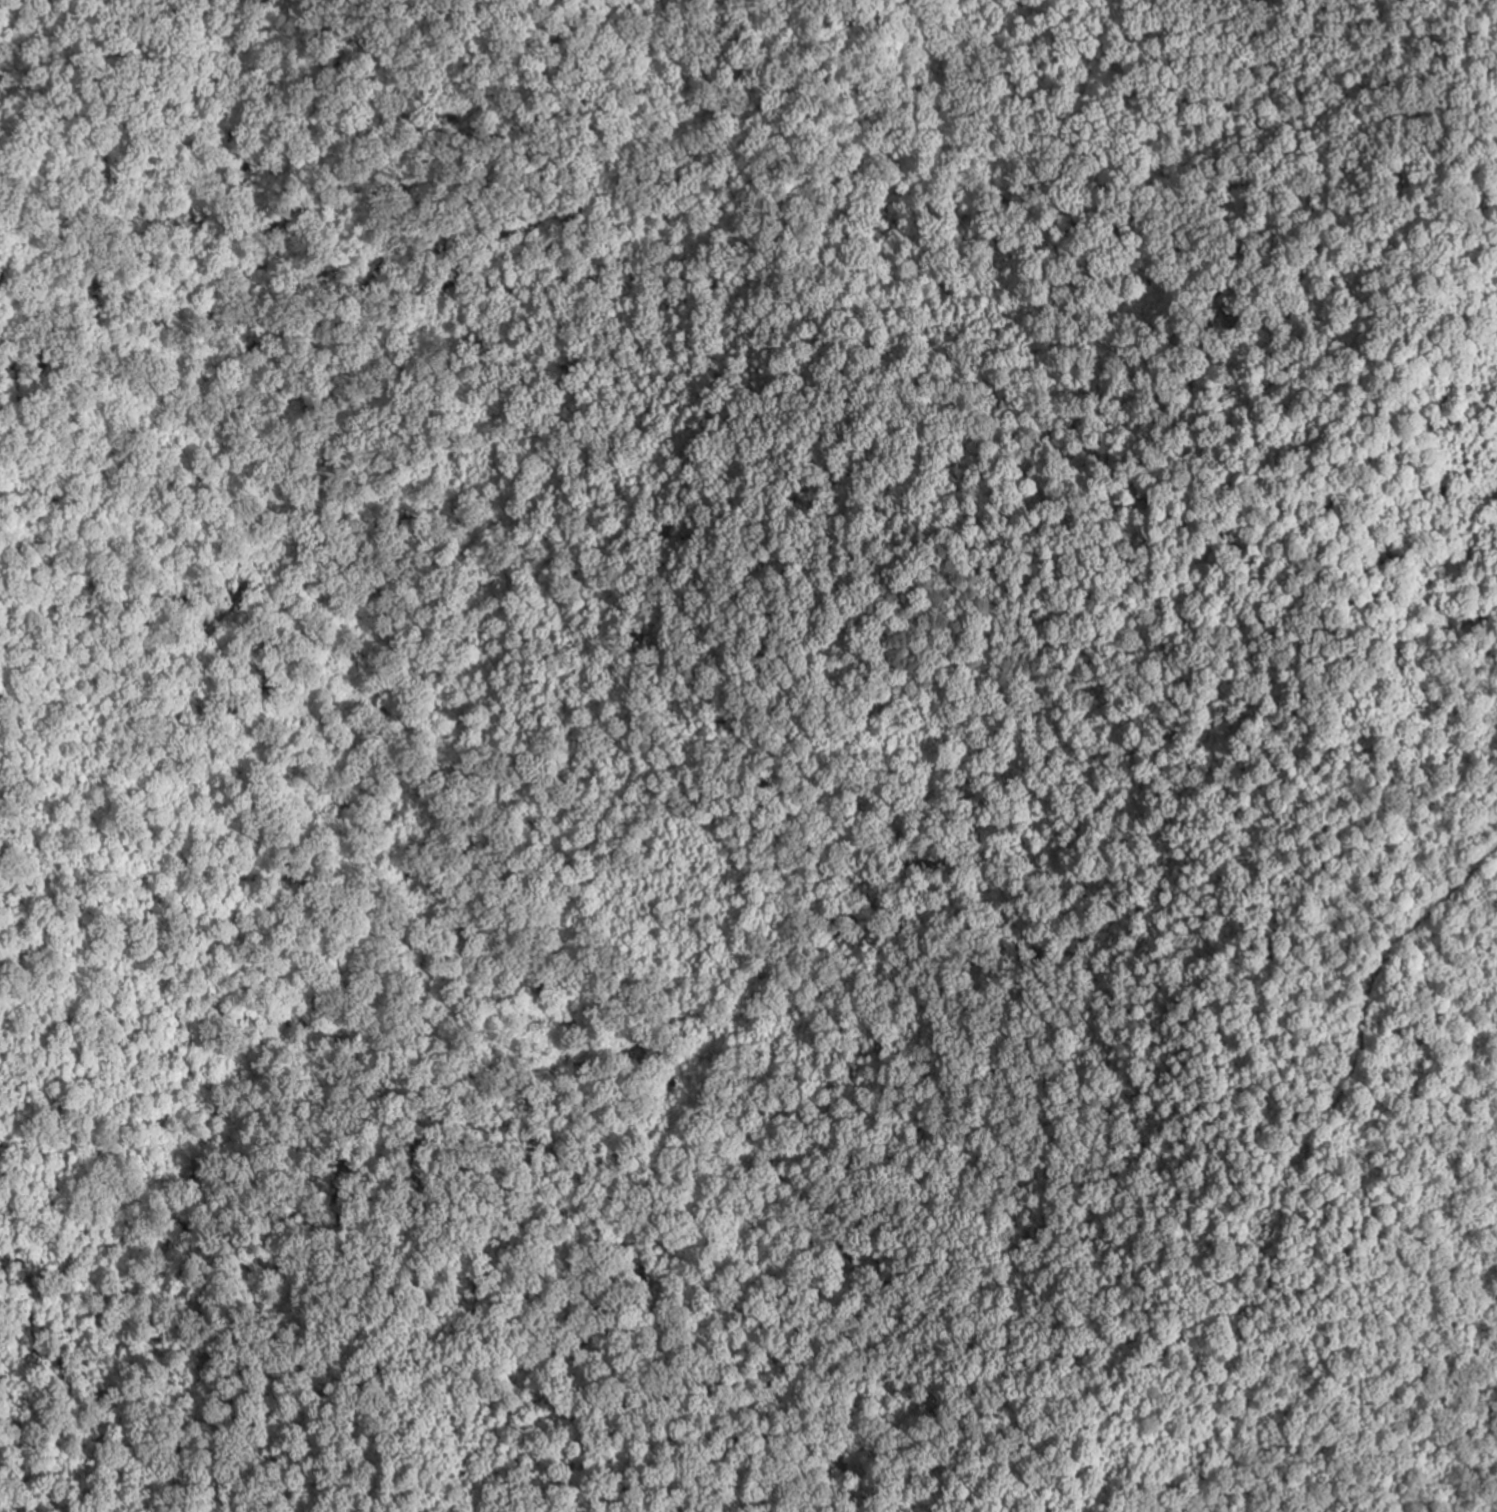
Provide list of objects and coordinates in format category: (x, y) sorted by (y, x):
road: (1301, 1209)
road: (44, 1502)

